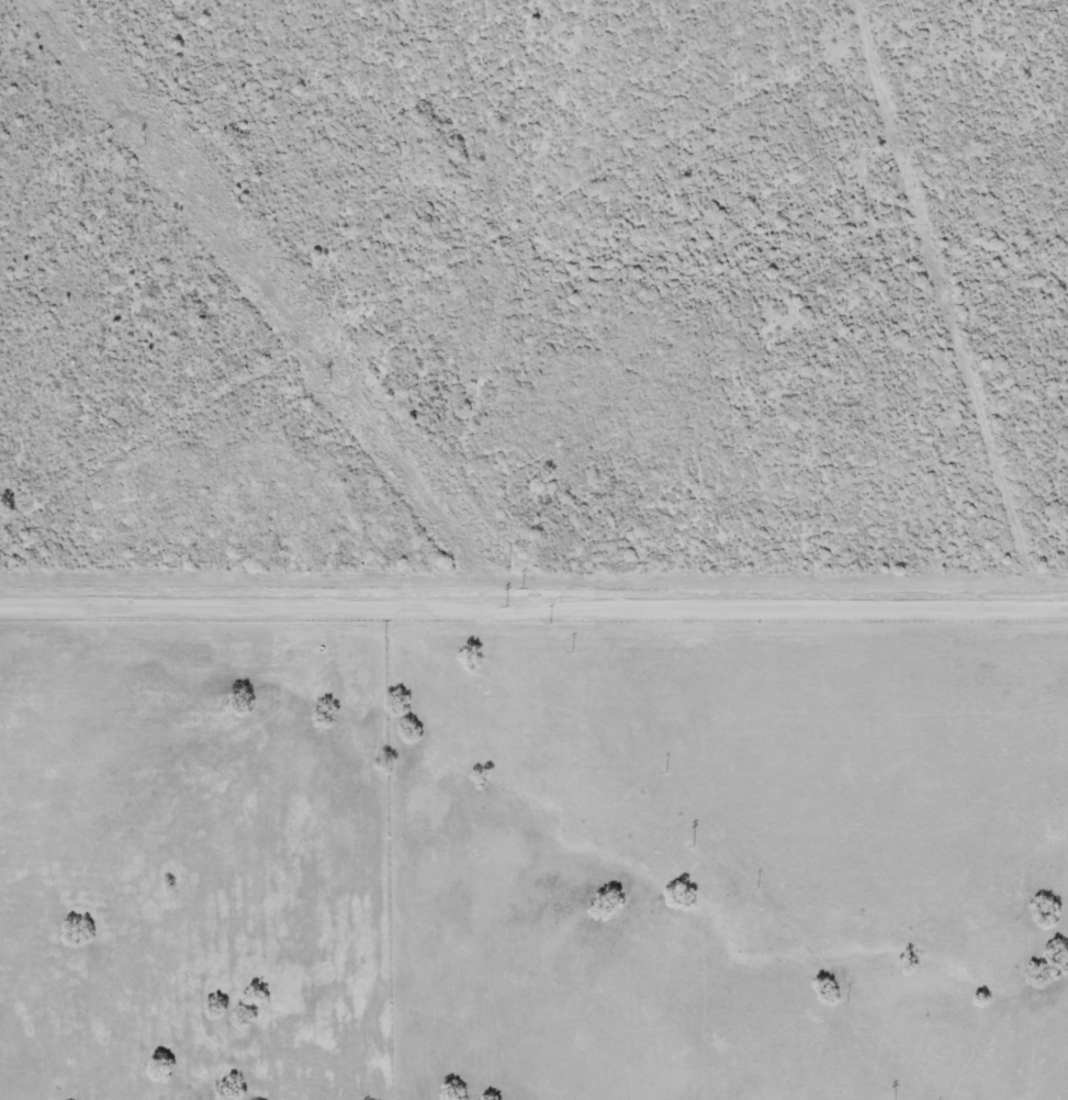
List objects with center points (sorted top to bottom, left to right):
power tower: (145, 147)
power tower: (329, 382)
power tower: (505, 606)
road: (533, 608)
power tower: (693, 843)

